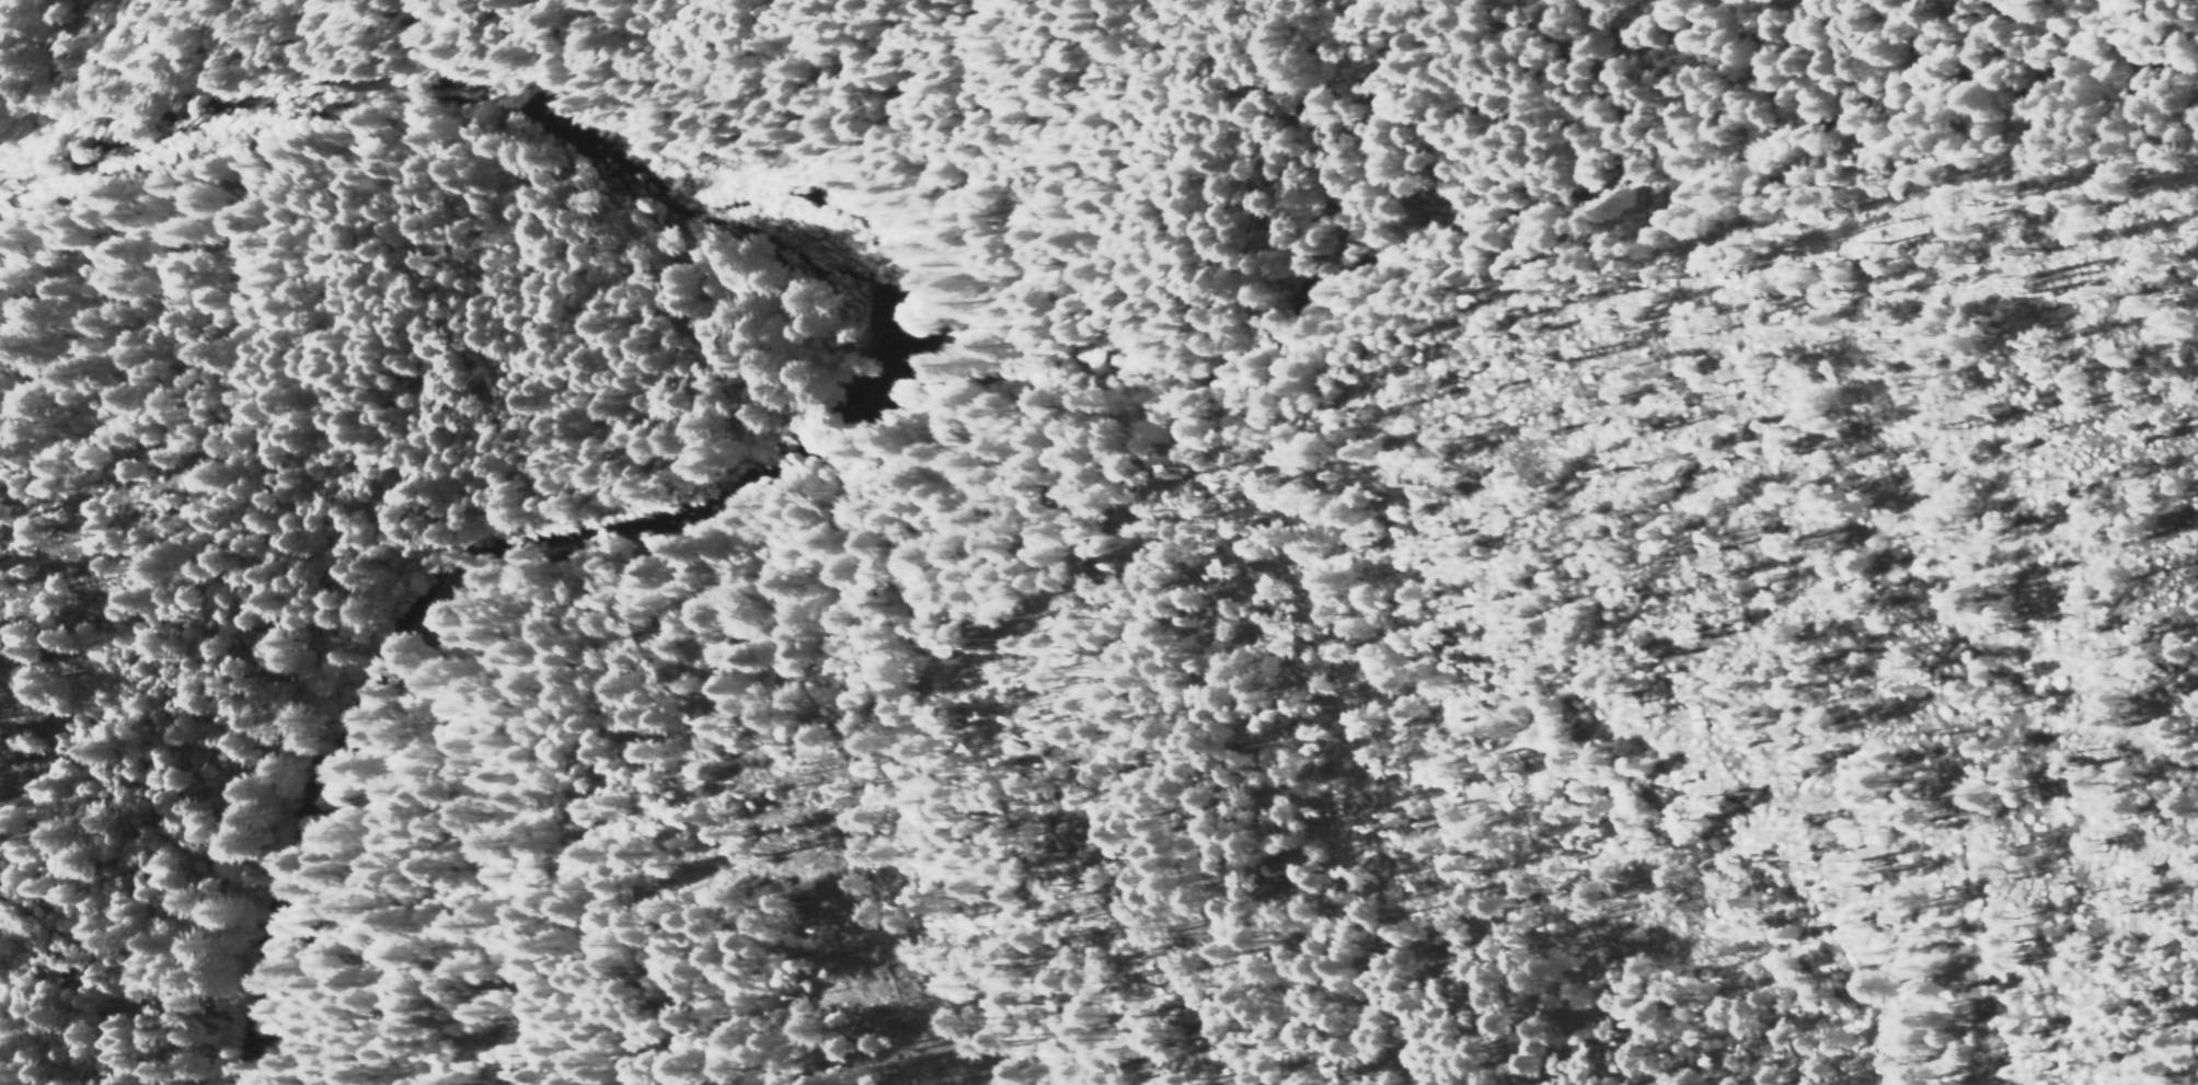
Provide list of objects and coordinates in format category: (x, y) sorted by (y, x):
river: (867, 395)

